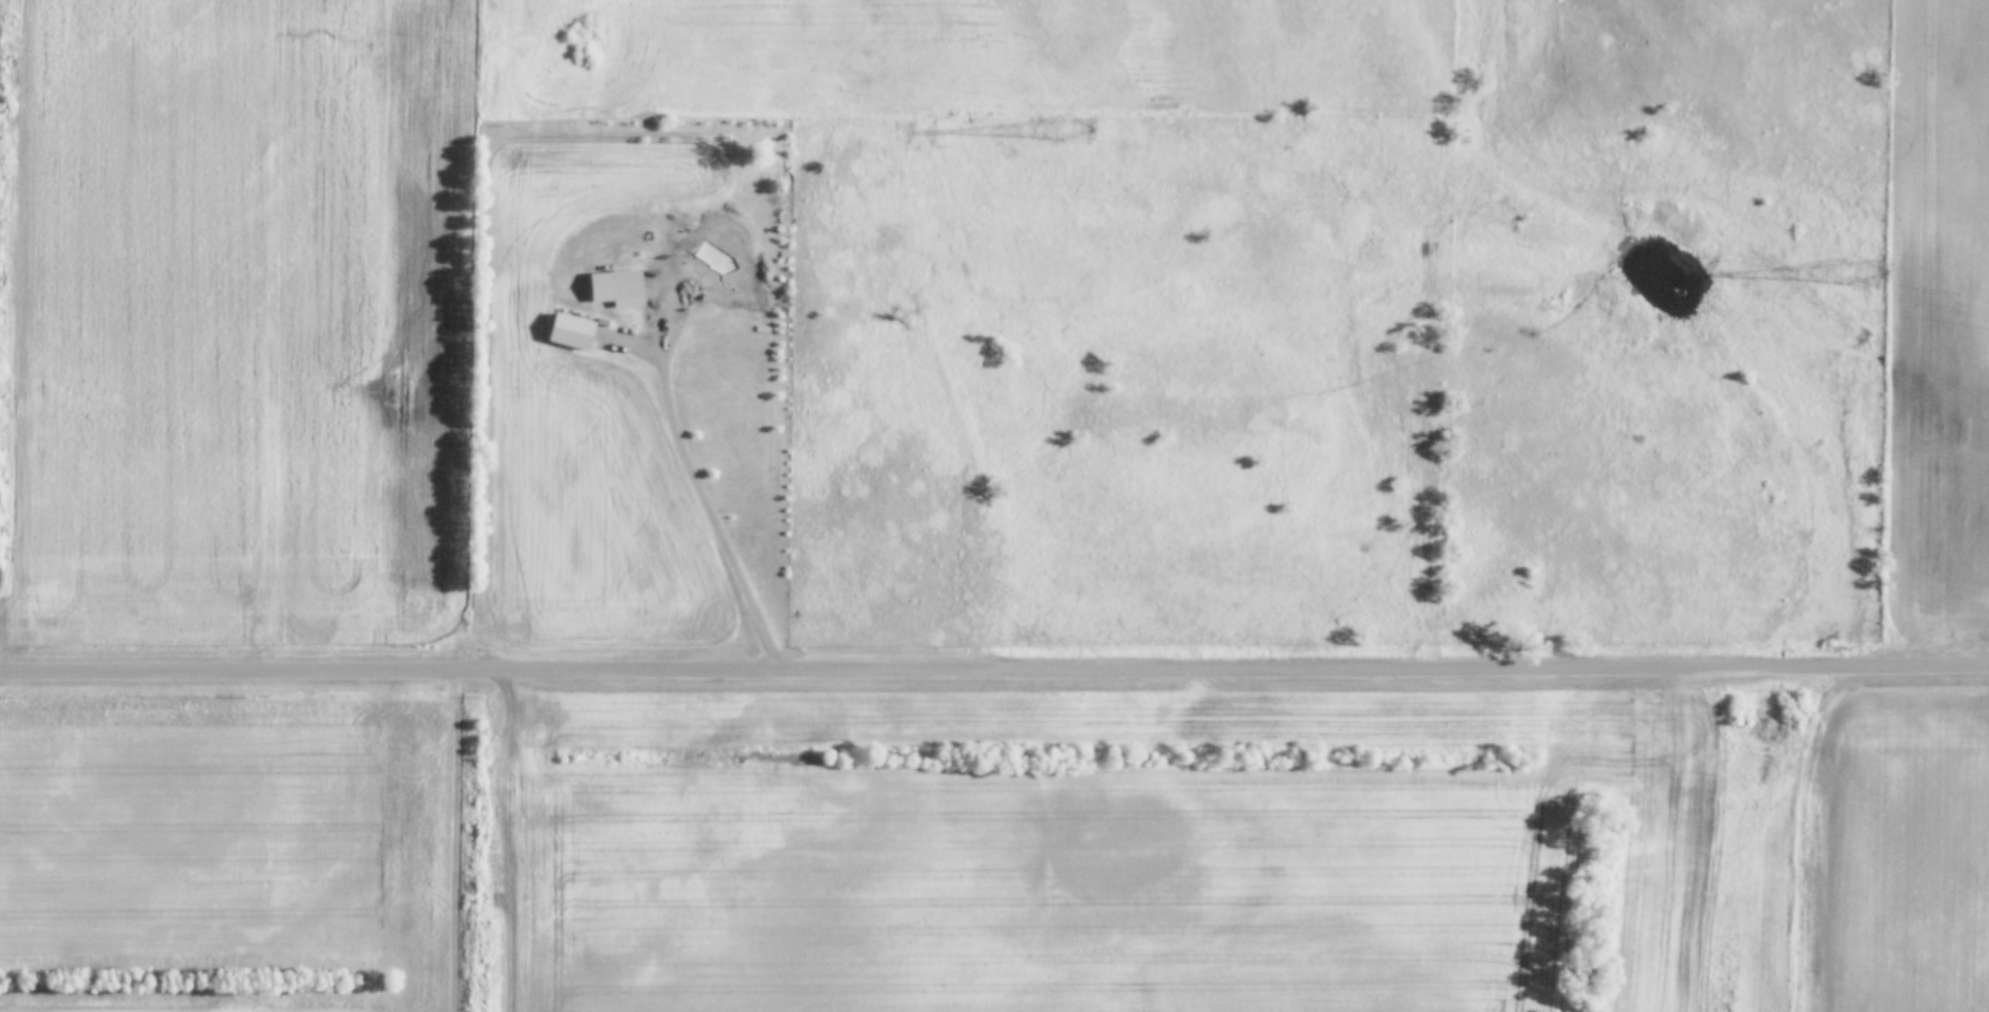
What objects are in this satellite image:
power tower: (1075, 122)
building: (774, 201)
power tower: (1866, 269)
building: (618, 287)
road: (692, 466)
road: (994, 671)

